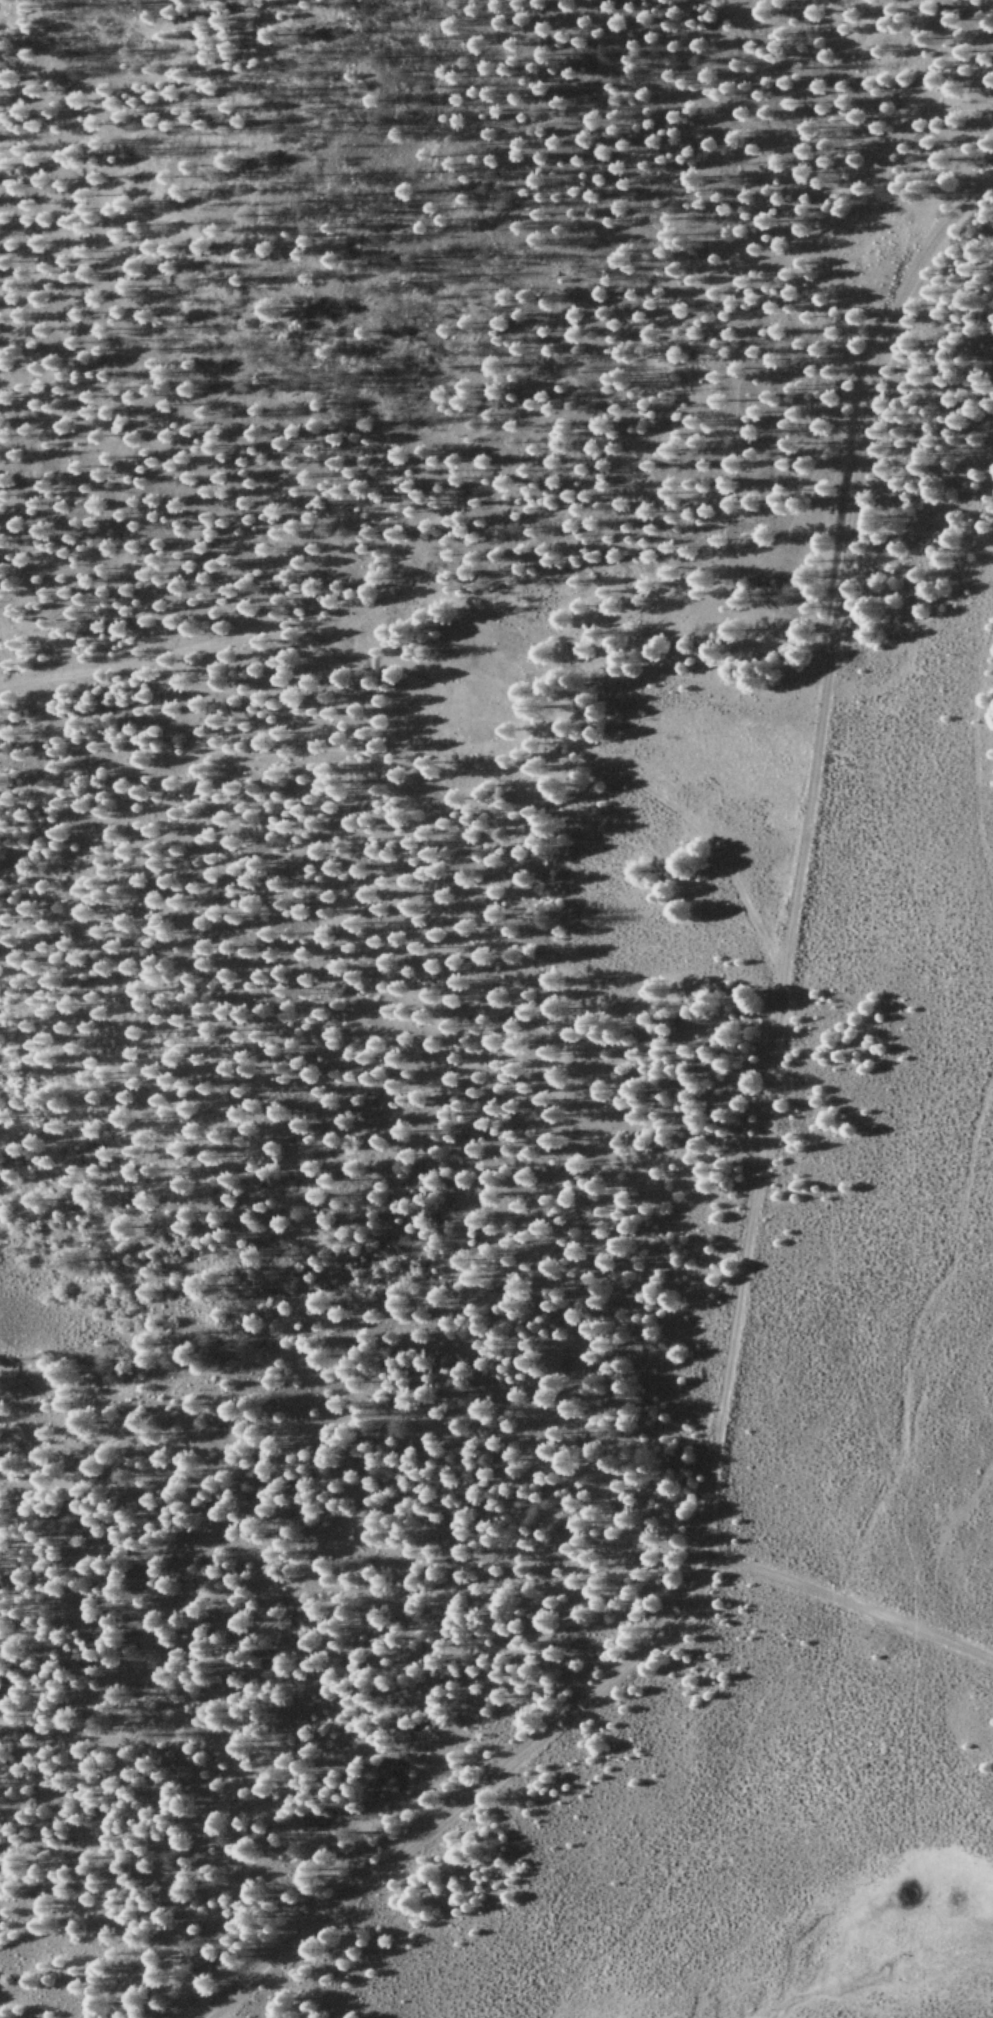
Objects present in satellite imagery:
road: (794, 857)
road: (846, 1745)
road: (432, 1794)

